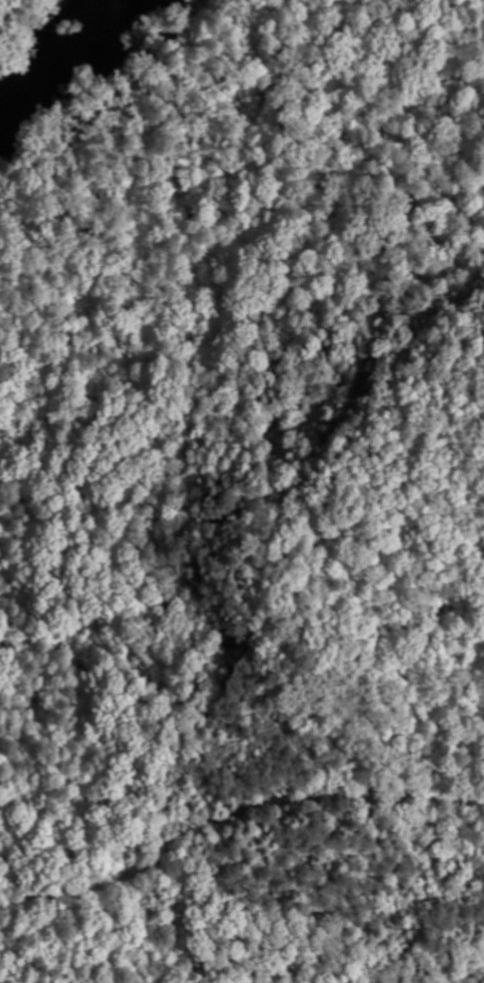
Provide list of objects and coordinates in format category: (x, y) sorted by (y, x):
river: (68, 63)
road: (223, 250)

